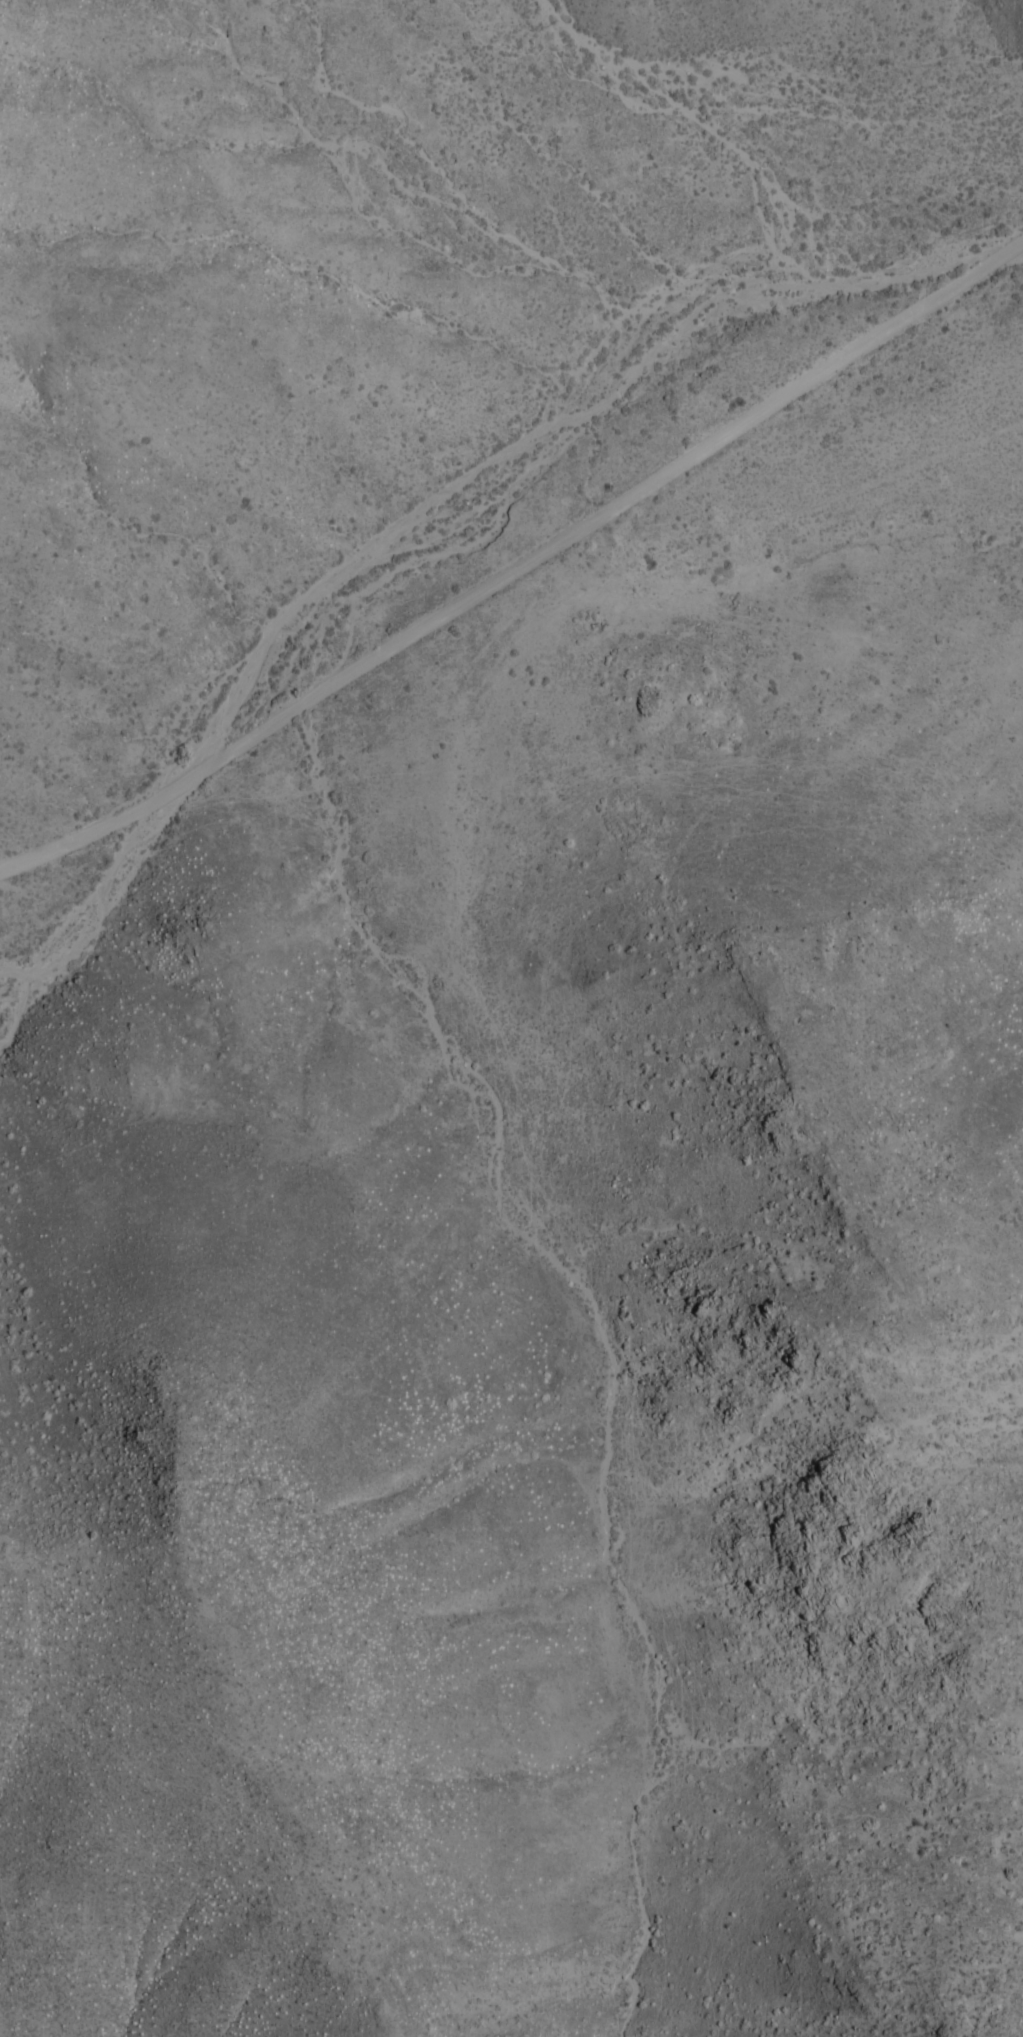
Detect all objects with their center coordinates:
road: (516, 569)

